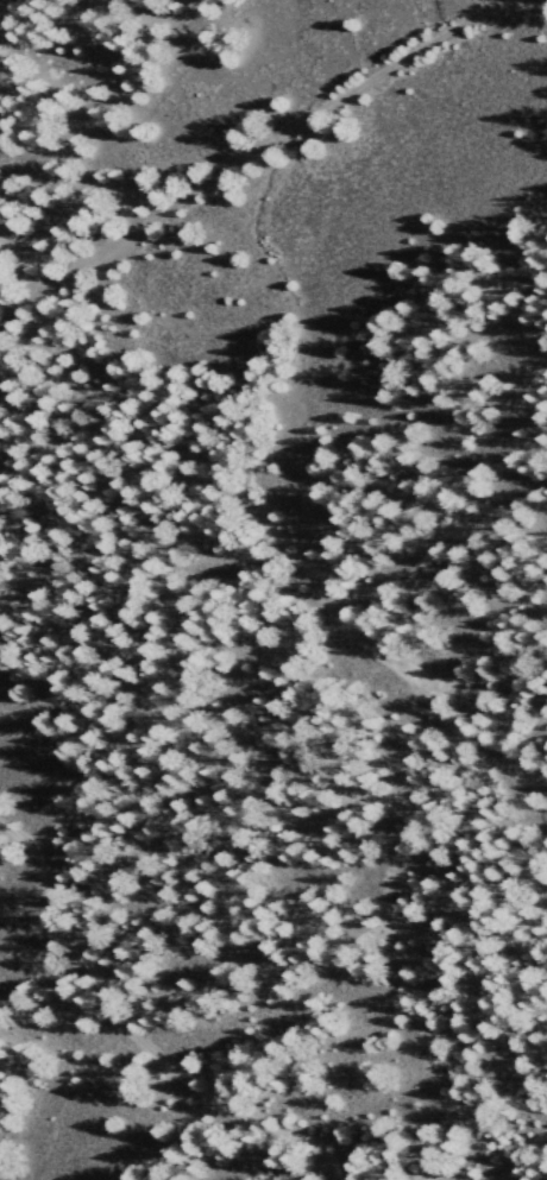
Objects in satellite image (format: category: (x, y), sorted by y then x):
road: (247, 157)
road: (539, 616)
road: (401, 894)
road: (137, 1037)
road: (521, 1155)

